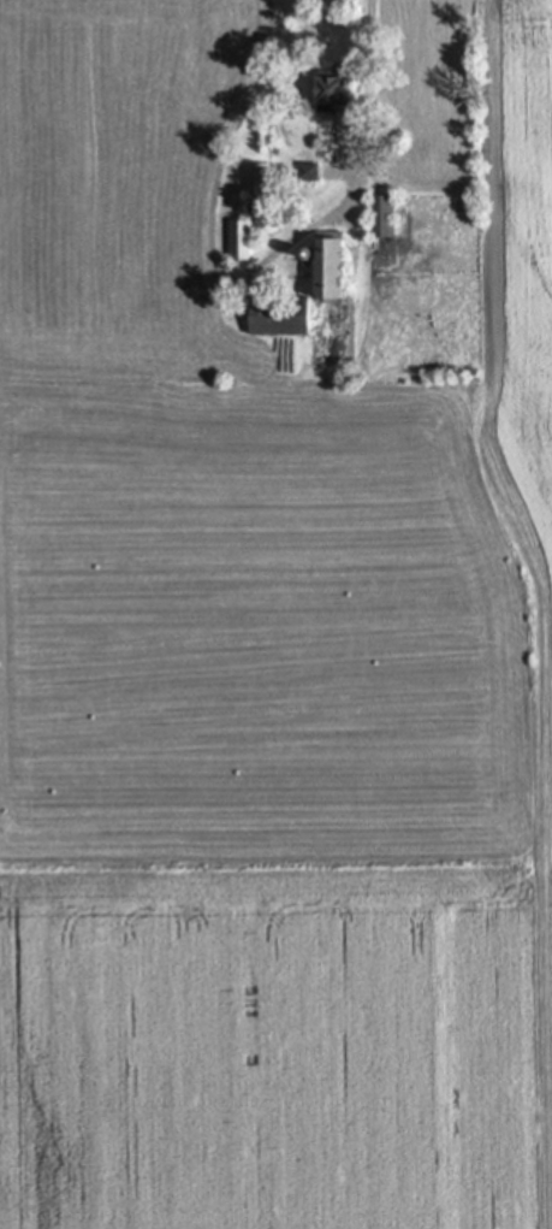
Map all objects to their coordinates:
building: (337, 87)
building: (309, 170)
building: (256, 178)
building: (259, 207)
road: (328, 213)
building: (381, 215)
building: (268, 226)
building: (239, 241)
building: (305, 252)
building: (328, 262)
building: (273, 285)
building: (281, 315)

